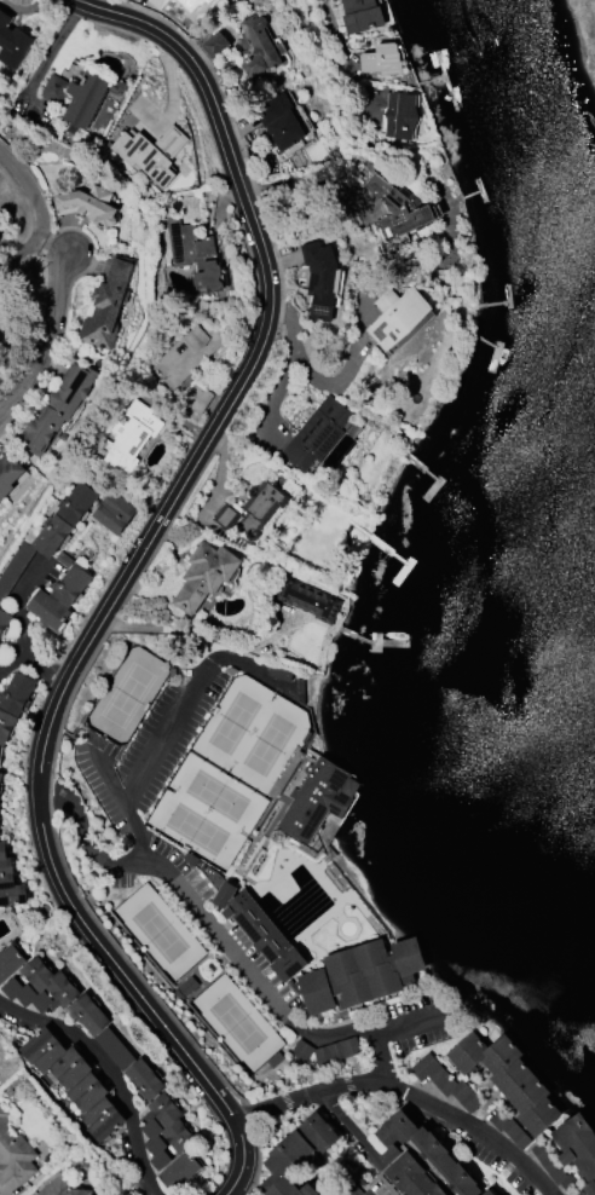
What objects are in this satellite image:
building: (198, 0)
building: (160, 2)
building: (362, 15)
building: (12, 42)
building: (214, 44)
building: (258, 46)
road: (343, 56)
building: (385, 58)
building: (54, 87)
building: (85, 97)
building: (400, 116)
building: (279, 120)
road: (223, 133)
building: (151, 152)
road: (31, 187)
building: (88, 204)
building: (398, 207)
road: (19, 254)
building: (195, 254)
building: (320, 277)
building: (106, 305)
building: (395, 313)
road: (46, 341)
building: (186, 351)
road: (287, 366)
road: (343, 371)
building: (57, 405)
building: (317, 432)
building: (129, 434)
building: (8, 473)
building: (261, 506)
building: (115, 510)
building: (226, 515)
building: (64, 518)
building: (12, 568)
building: (204, 575)
building: (70, 579)
building: (310, 599)
road: (17, 604)
building: (48, 608)
road: (109, 614)
building: (4, 619)
road: (206, 634)
road: (34, 665)
building: (13, 702)
park: (252, 737)
building: (0, 755)
road: (108, 772)
building: (0, 777)
building: (318, 798)
park: (204, 813)
road: (81, 833)
building: (8, 879)
building: (261, 929)
park: (158, 933)
road: (231, 949)
building: (10, 960)
building: (360, 972)
building: (186, 986)
building: (56, 994)
road: (411, 1021)
park: (236, 1024)
road: (174, 1045)
building: (114, 1047)
building: (301, 1049)
building: (336, 1050)
road: (110, 1074)
building: (508, 1078)
building: (143, 1079)
building: (445, 1080)
building: (75, 1081)
road: (310, 1098)
building: (163, 1128)
building: (578, 1147)
building: (13, 1151)
building: (296, 1155)
building: (422, 1160)
building: (179, 1170)
building: (62, 1187)
building: (496, 1194)

